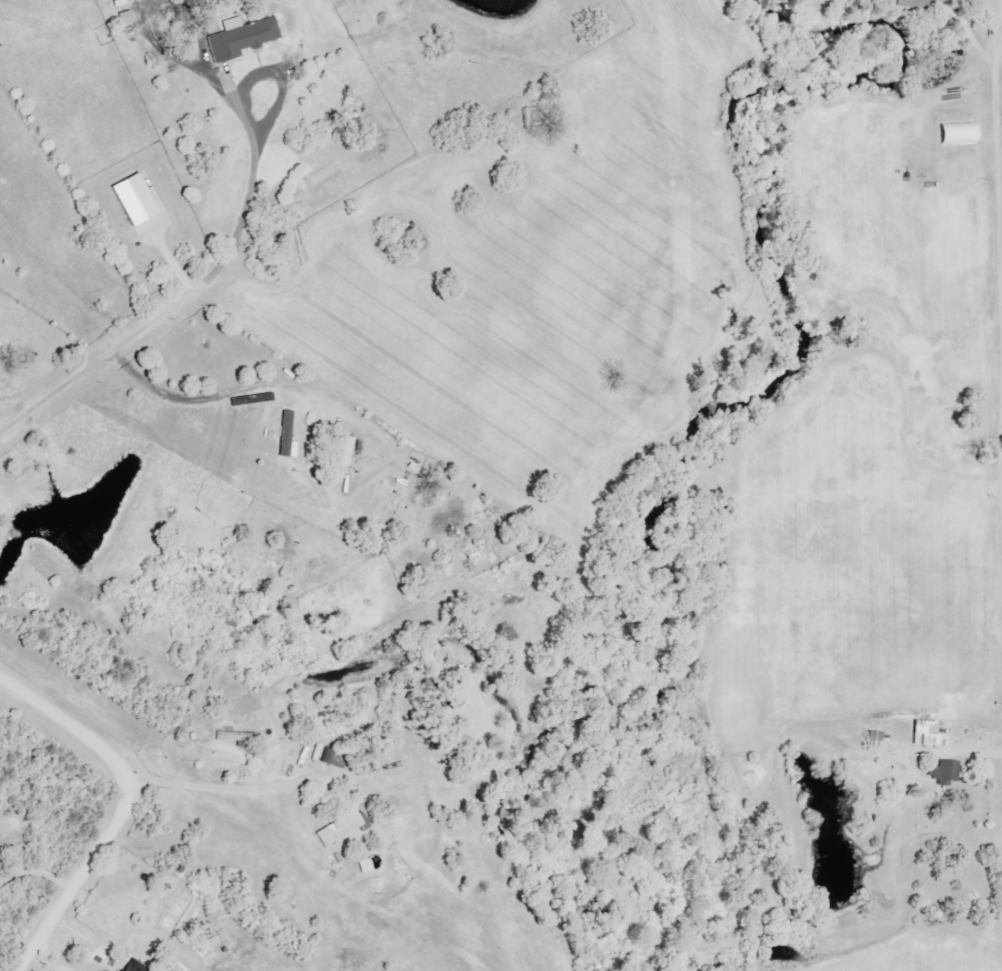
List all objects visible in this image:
building: (939, 0)
building: (241, 38)
building: (958, 133)
building: (134, 200)
road: (998, 204)
building: (285, 433)
building: (344, 451)
building: (924, 733)
building: (233, 738)
building: (945, 771)
road: (121, 810)
building: (339, 828)
building: (135, 966)

